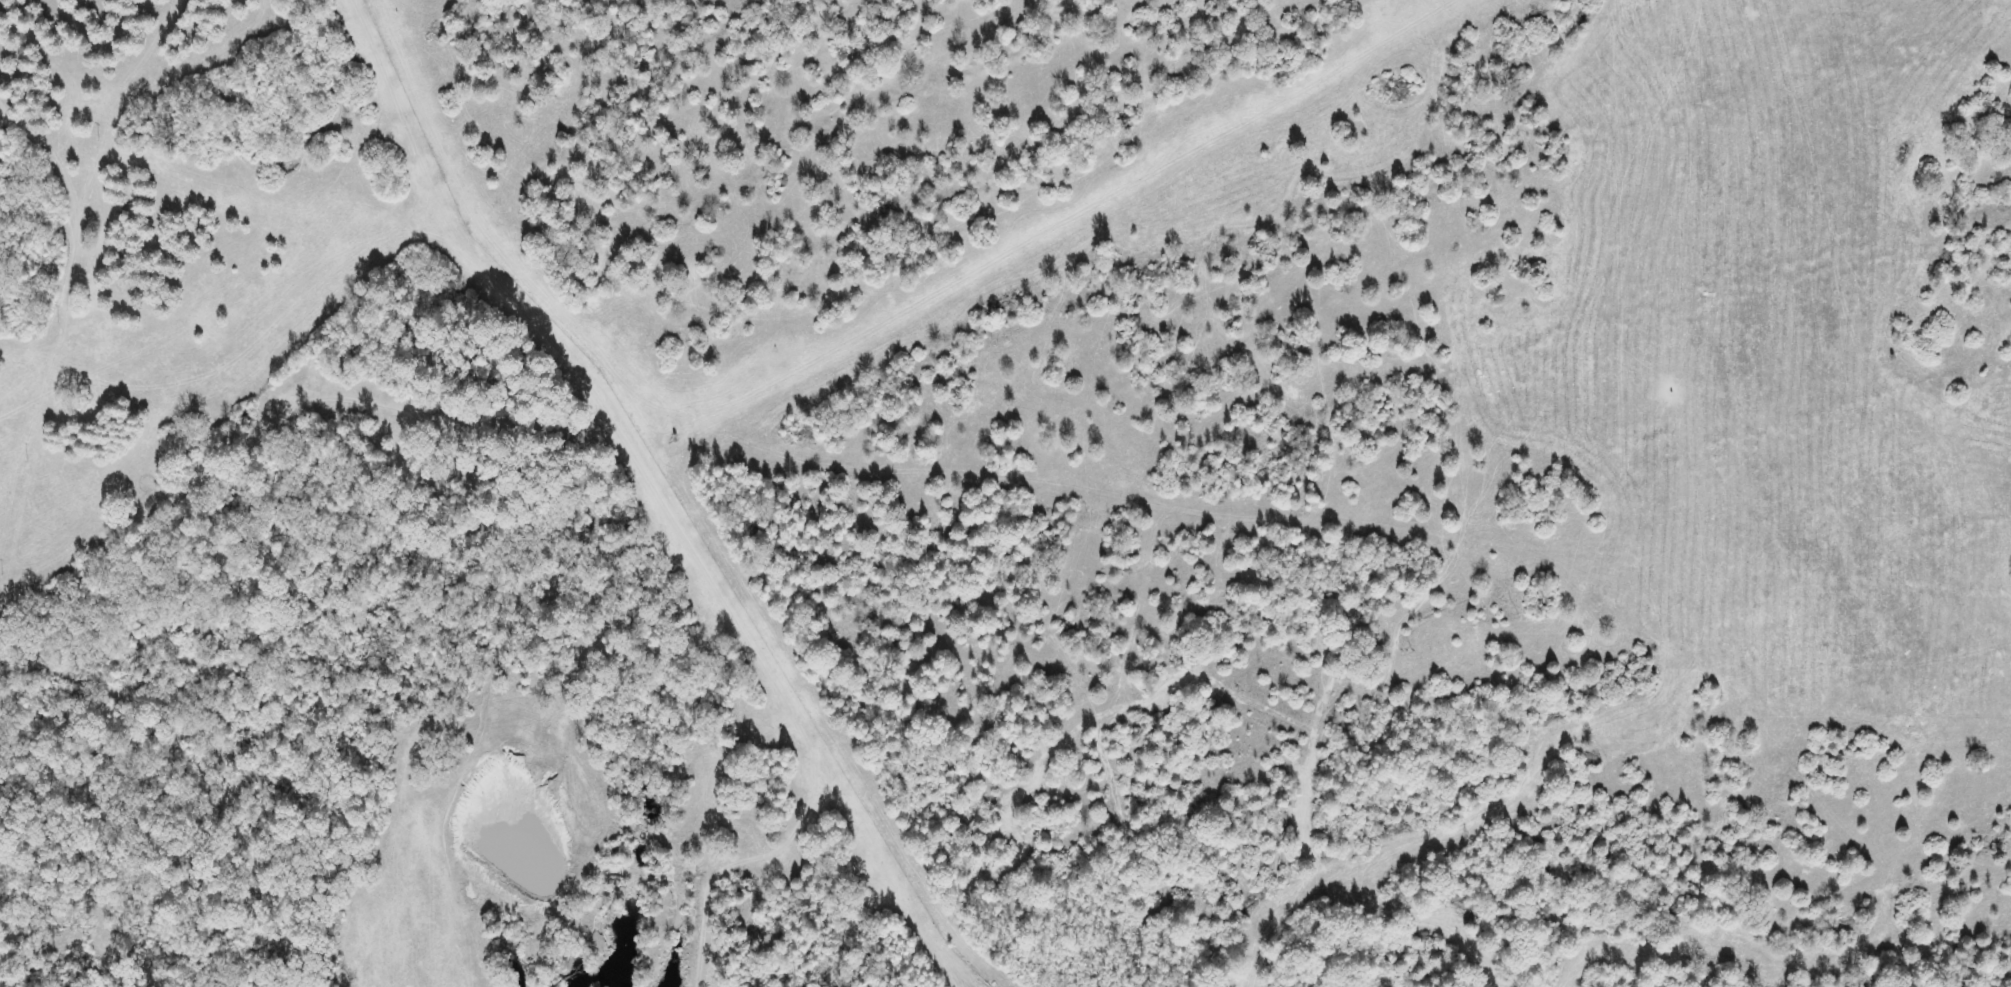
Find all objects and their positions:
road: (1005, 791)

